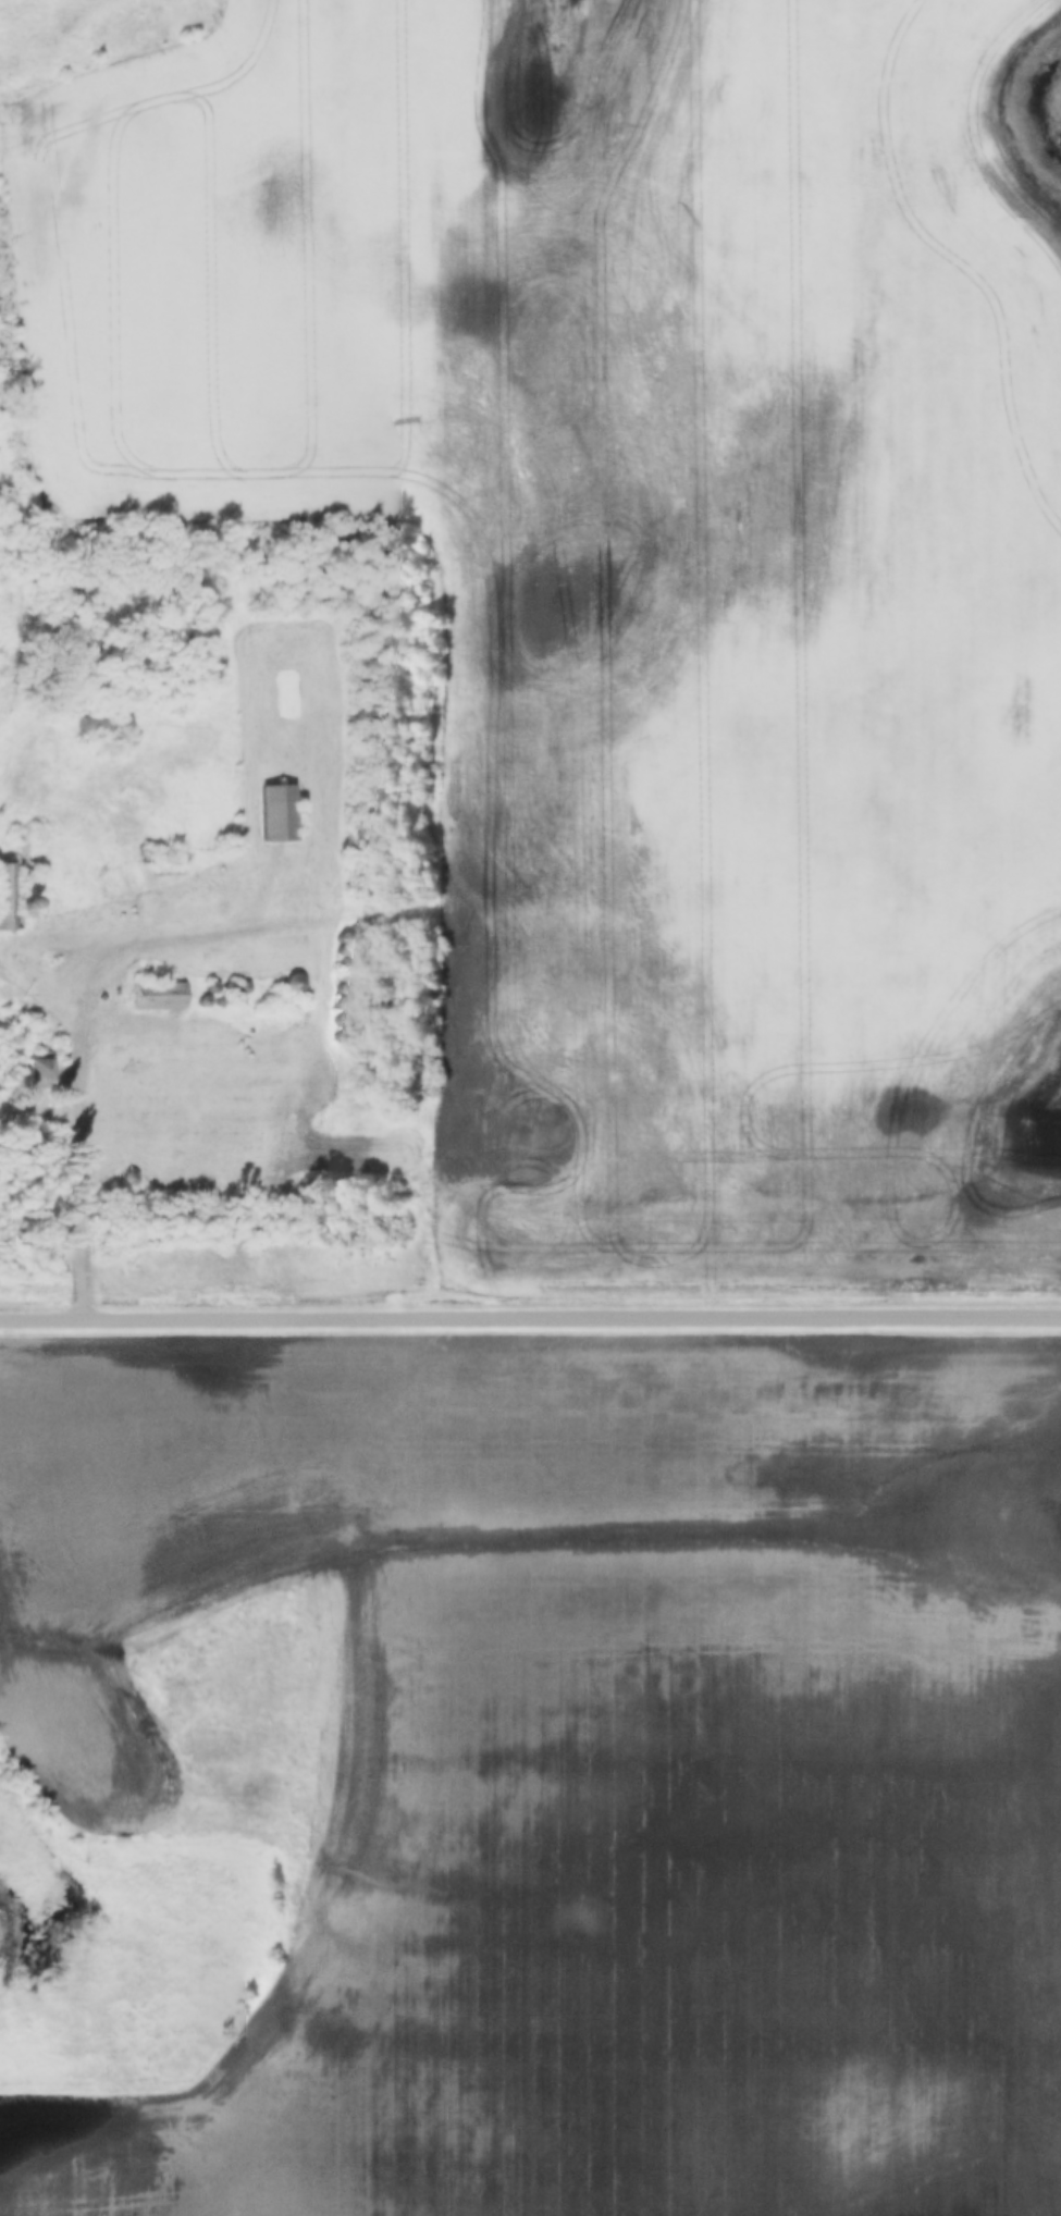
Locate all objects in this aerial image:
road: (493, 691)
building: (102, 726)
building: (281, 814)
building: (5, 898)
building: (159, 997)
building: (36, 1070)
road: (85, 1181)
road: (530, 1324)

